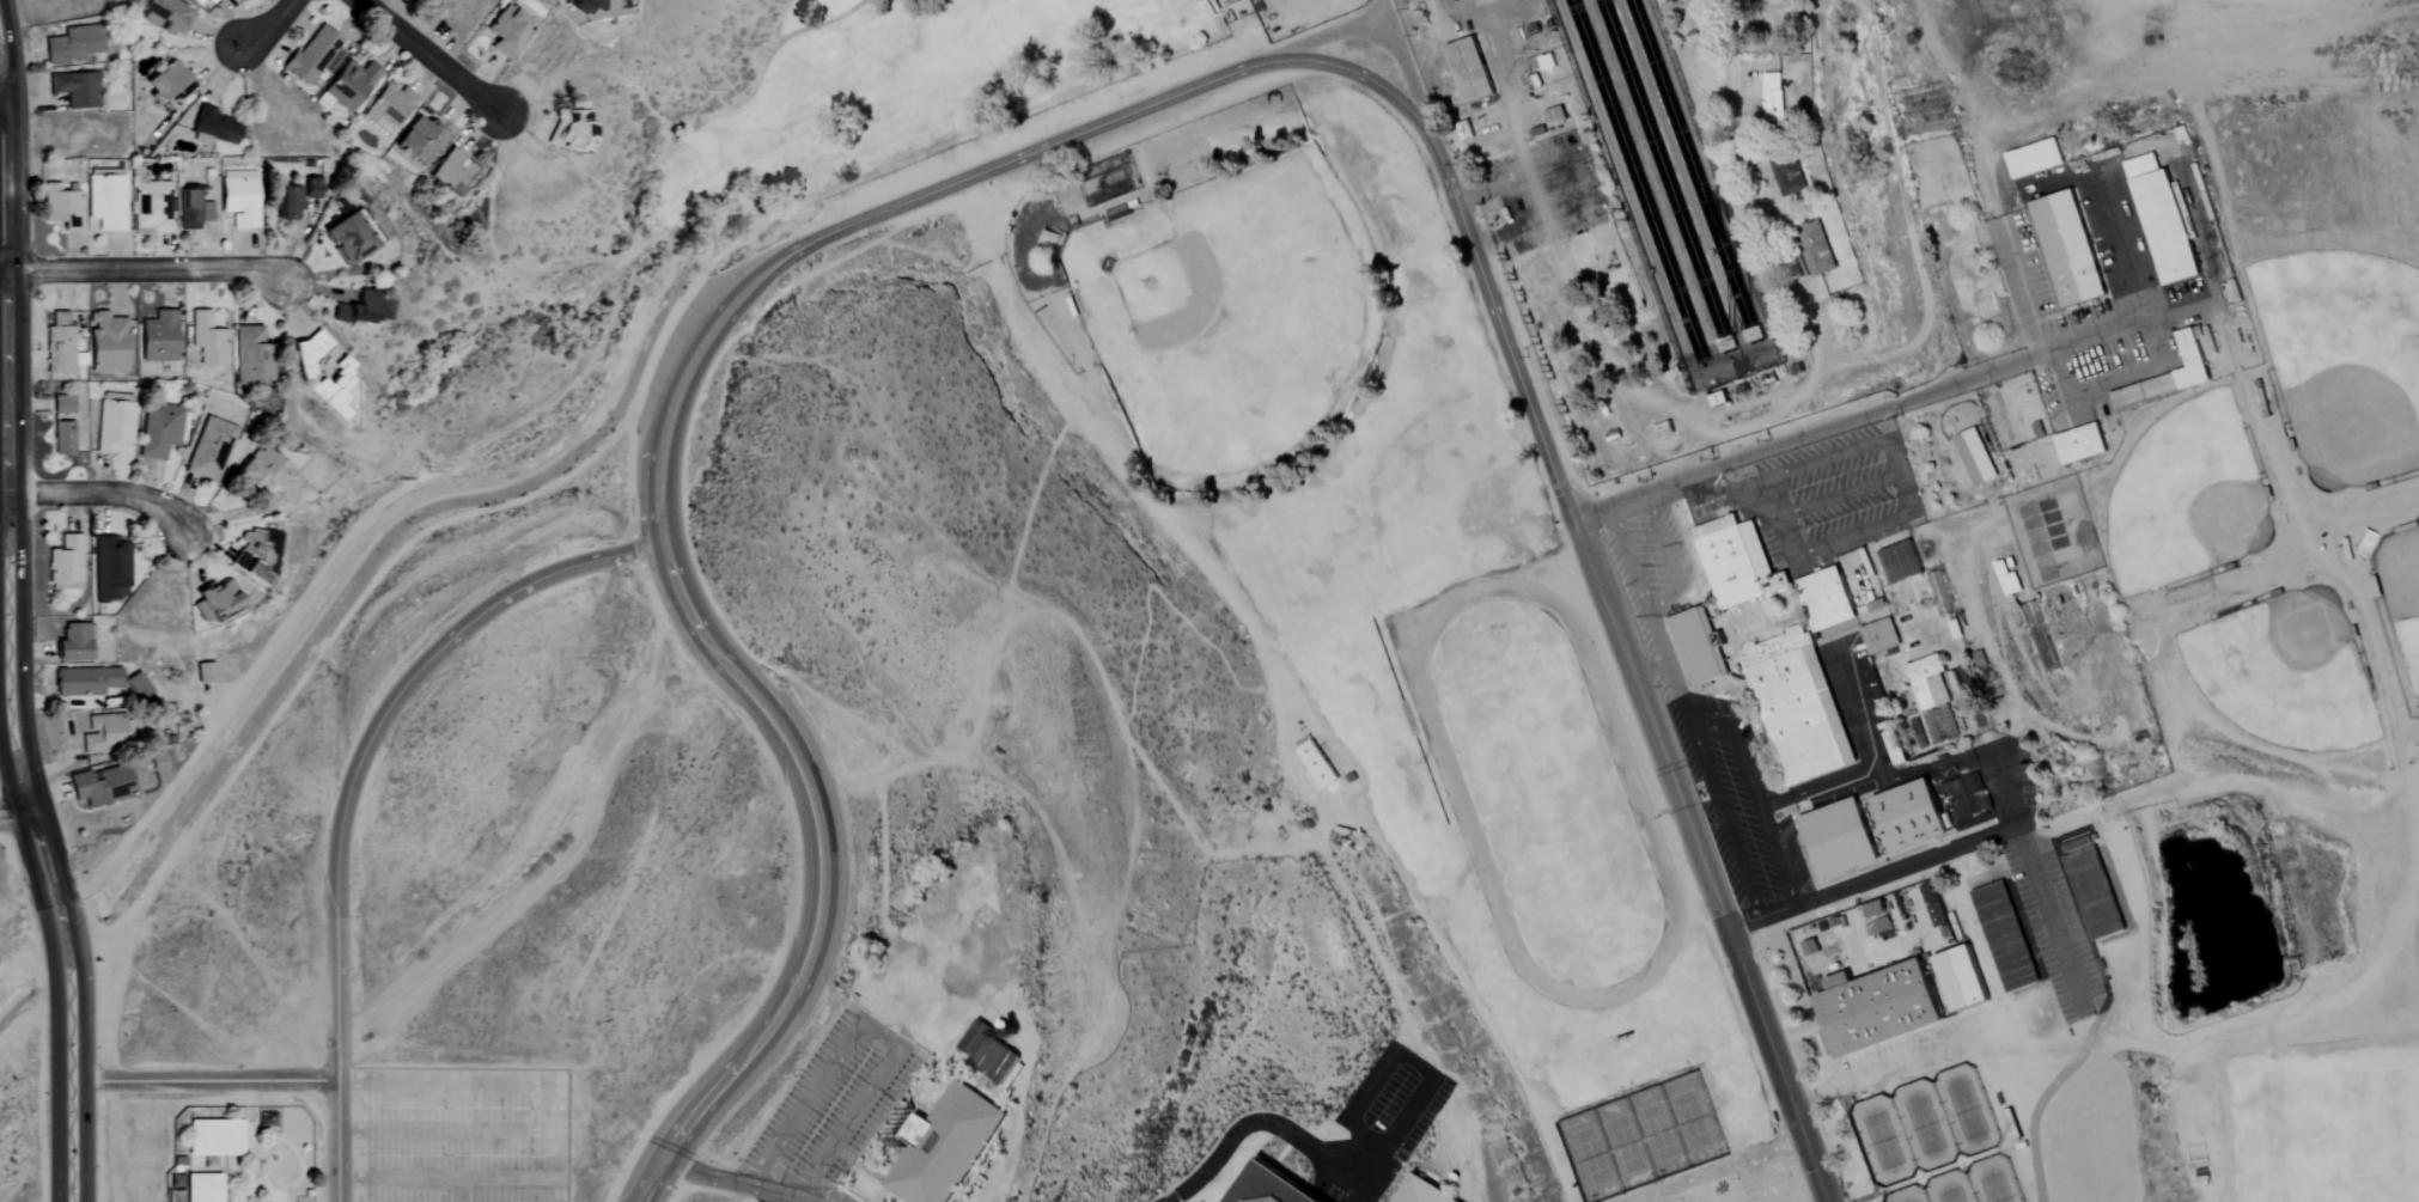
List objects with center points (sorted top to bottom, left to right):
building: (236, 0)
building: (421, 0)
building: (439, 0)
building: (218, 1)
road: (1379, 11)
building: (162, 16)
road: (261, 25)
building: (507, 31)
road: (1316, 38)
building: (73, 45)
building: (315, 55)
road: (432, 57)
road: (1352, 71)
building: (1469, 71)
road: (1403, 73)
power tower: (701, 80)
road: (2156, 81)
building: (351, 85)
building: (166, 86)
building: (75, 90)
building: (1772, 97)
road: (2, 104)
building: (389, 105)
park: (875, 105)
building: (1555, 116)
building: (574, 126)
building: (214, 128)
building: (418, 141)
building: (2027, 160)
aquafarm: (1693, 170)
building: (452, 173)
aquafarm: (1664, 175)
building: (1785, 175)
aquafarm: (1637, 182)
building: (293, 196)
building: (239, 199)
building: (105, 200)
building: (148, 205)
building: (61, 208)
building: (193, 208)
aquafarm: (1645, 210)
building: (2164, 226)
building: (351, 238)
building: (2066, 249)
building: (1812, 251)
road: (141, 270)
park: (1198, 301)
building: (361, 309)
building: (1753, 335)
building: (158, 337)
building: (207, 340)
road: (2159, 340)
building: (106, 343)
building: (60, 347)
road: (2057, 348)
building: (309, 354)
building: (254, 358)
building: (2167, 376)
building: (335, 392)
building: (62, 405)
road: (1878, 413)
park: (2345, 417)
building: (115, 422)
road: (2262, 425)
road: (1699, 427)
building: (162, 429)
building: (62, 439)
building: (2079, 444)
building: (209, 450)
building: (1974, 458)
power tower: (425, 468)
building: (270, 476)
road: (1768, 482)
road: (99, 492)
road: (1738, 492)
parking lot: (1834, 493)
park: (2194, 493)
road: (1835, 494)
road: (1144, 500)
road: (656, 501)
park: (1451, 505)
road: (1909, 506)
road: (2358, 511)
road: (244, 512)
road: (1629, 561)
building: (1737, 561)
building: (65, 562)
building: (1900, 562)
building: (110, 569)
parking lot: (1647, 569)
road: (1677, 581)
building: (2006, 581)
road: (2236, 592)
building: (1937, 594)
building: (1826, 599)
building: (215, 600)
park: (2400, 602)
road: (2371, 629)
building: (1879, 636)
road: (6, 641)
building: (74, 643)
building: (1698, 647)
park: (2284, 648)
road: (1627, 665)
road: (1665, 669)
building: (205, 673)
building: (1884, 677)
building: (85, 682)
building: (139, 687)
building: (1934, 695)
building: (1797, 706)
building: (104, 734)
building: (1893, 748)
building: (1317, 764)
road: (1865, 764)
parking lot: (1940, 783)
building: (102, 786)
road: (349, 787)
road: (2004, 787)
park: (1544, 791)
track: (1543, 792)
parking lot: (1730, 793)
road: (1753, 794)
road: (16, 814)
road: (1720, 814)
building: (1911, 818)
road: (2317, 820)
building: (1803, 836)
building: (1839, 840)
road: (2034, 875)
building: (2094, 892)
building: (1875, 909)
road: (1366, 933)
building: (2004, 935)
building: (1962, 981)
road: (1463, 987)
building: (1878, 1008)
road: (869, 1027)
building: (974, 1037)
building: (986, 1054)
building: (1001, 1063)
road: (202, 1080)
road: (1851, 1080)
road: (446, 1081)
parking lot: (834, 1100)
park: (1924, 1124)
parking lot: (1378, 1127)
park: (2326, 1127)
road: (457, 1129)
road: (446, 1133)
parking lot: (463, 1136)
building: (217, 1137)
park: (1645, 1139)
road: (560, 1142)
building: (943, 1145)
road: (971, 1157)
road: (1322, 1157)
road: (738, 1173)
road: (447, 1178)
road: (878, 1178)
parking lot: (1766, 1182)
road: (737, 1183)
park: (1968, 1185)
building: (205, 1186)
building: (1269, 1186)
road: (458, 1190)
building: (1420, 1190)
road: (852, 1192)
road: (773, 1197)
road: (827, 1198)
parking lot: (1670, 1198)
parking lot: (752, 1200)

